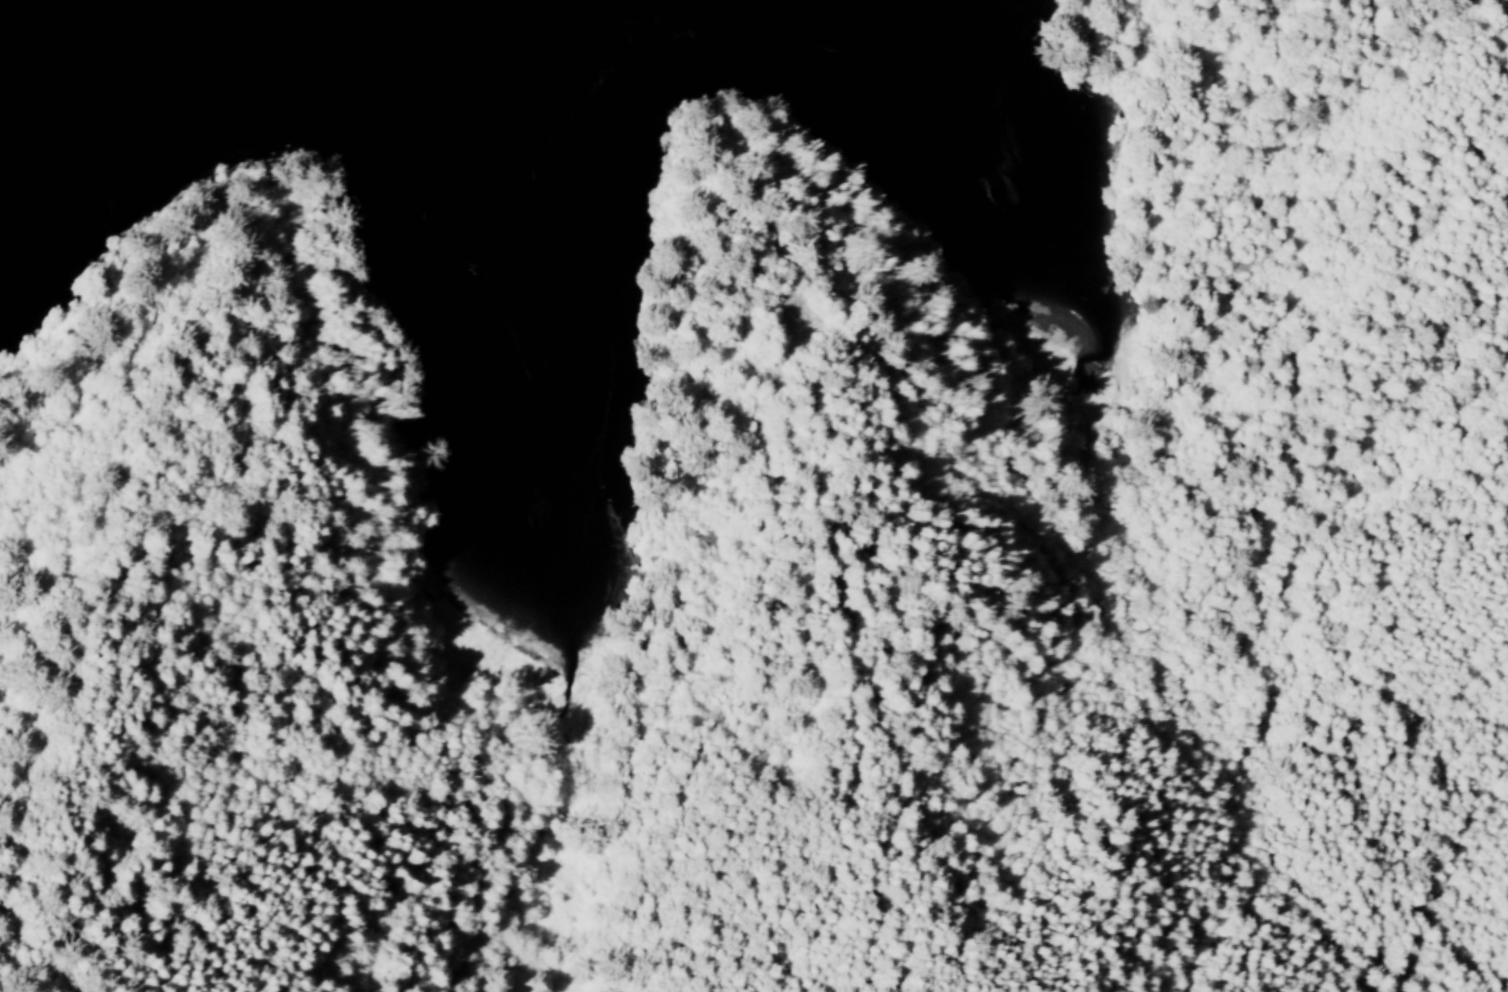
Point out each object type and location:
road: (1366, 310)
road: (267, 806)
road: (1035, 860)

